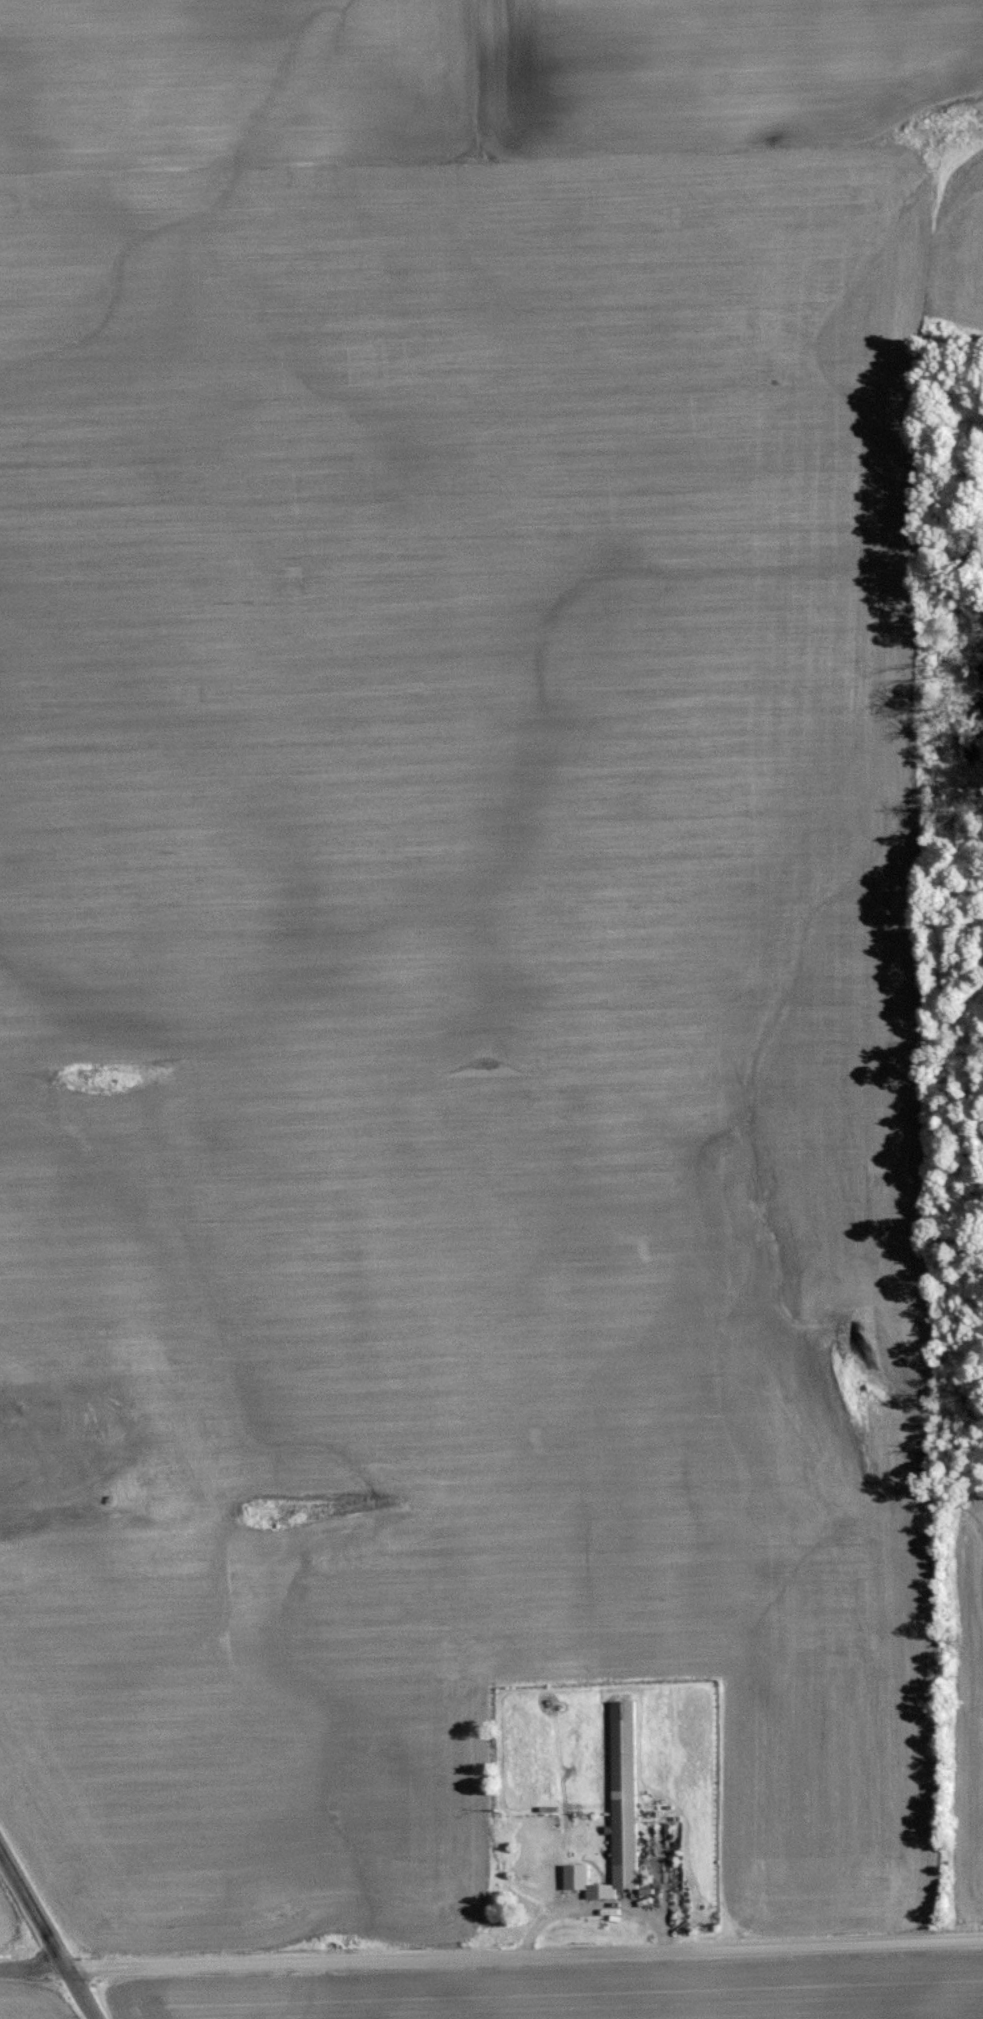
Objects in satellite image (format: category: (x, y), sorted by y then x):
building: (620, 1809)
road: (50, 1931)
road: (491, 1956)

